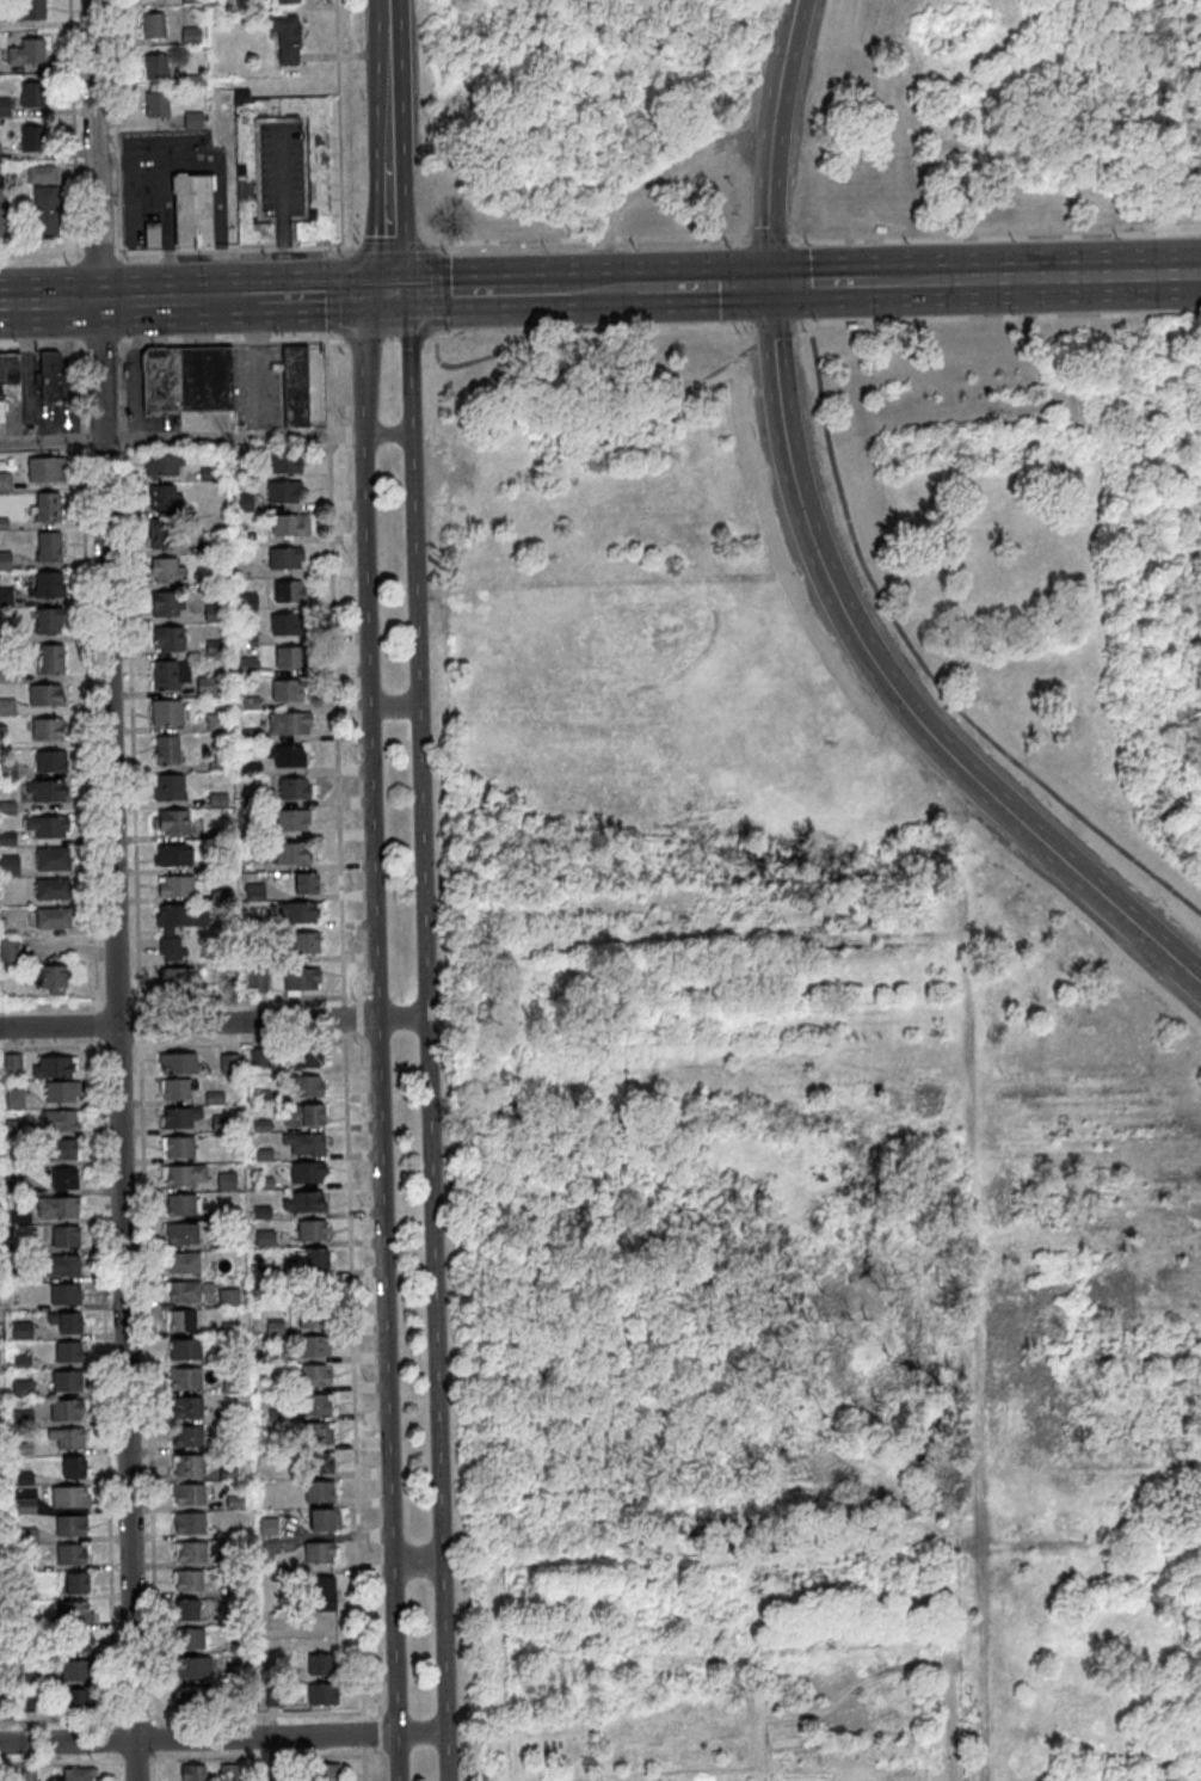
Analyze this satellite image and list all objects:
building: (287, 1)
building: (191, 2)
street lamp: (771, 6)
road: (383, 10)
building: (26, 11)
building: (152, 26)
building: (190, 36)
building: (285, 37)
building: (26, 53)
building: (155, 67)
street lamp: (752, 75)
building: (191, 81)
building: (32, 94)
building: (156, 104)
building: (5, 108)
road: (386, 108)
park: (811, 112)
road: (281, 118)
building: (192, 121)
road: (338, 123)
road: (116, 128)
road: (72, 129)
building: (31, 139)
road: (769, 140)
road: (164, 153)
parking lot: (164, 162)
parking lot: (279, 168)
building: (318, 168)
building: (41, 174)
road: (651, 180)
building: (191, 207)
road: (281, 210)
building: (45, 211)
building: (2, 213)
road: (165, 227)
street lamp: (357, 231)
building: (152, 233)
street lamp: (1116, 234)
road: (768, 235)
road: (591, 238)
road: (950, 239)
road: (390, 244)
road: (430, 244)
road: (389, 245)
road: (435, 246)
road: (322, 247)
road: (254, 248)
road: (282, 248)
road: (223, 250)
street lamp: (546, 250)
road: (192, 251)
road: (333, 251)
street lamp: (445, 251)
road: (137, 252)
road: (166, 252)
road: (39, 253)
road: (97, 253)
street lamp: (339, 254)
street lamp: (264, 256)
street lamp: (201, 257)
street lamp: (128, 259)
street lamp: (64, 262)
road: (1064, 276)
road: (741, 278)
road: (901, 280)
road: (823, 282)
road: (715, 283)
traffic signals: (769, 283)
road: (596, 285)
road: (435, 289)
road: (504, 289)
road: (433, 293)
road: (333, 294)
road: (343, 294)
traffic signals: (390, 294)
road: (261, 297)
road: (119, 299)
road: (198, 299)
road: (76, 300)
road: (85, 302)
street lamp: (812, 319)
road: (774, 324)
road: (590, 326)
street lamp: (448, 328)
street lamp: (275, 333)
road: (772, 336)
street lamp: (127, 337)
road: (334, 337)
road: (409, 337)
road: (364, 338)
road: (389, 338)
street lamp: (13, 339)
road: (122, 340)
road: (257, 340)
road: (308, 340)
road: (180, 342)
road: (100, 345)
road: (41, 346)
road: (259, 361)
road: (580, 373)
building: (49, 375)
building: (185, 376)
building: (8, 381)
road: (326, 383)
parking lot: (255, 386)
building: (294, 386)
street lamp: (341, 412)
road: (388, 432)
road: (327, 434)
road: (181, 438)
building: (285, 462)
building: (162, 465)
building: (45, 469)
building: (209, 474)
building: (5, 481)
building: (282, 491)
building: (162, 497)
building: (245, 503)
building: (47, 508)
building: (4, 524)
building: (289, 524)
building: (160, 533)
building: (216, 534)
building: (245, 539)
building: (48, 546)
building: (210, 546)
street lamp: (350, 553)
building: (284, 558)
building: (5, 561)
building: (164, 570)
building: (49, 585)
building: (288, 591)
building: (6, 597)
building: (246, 602)
building: (166, 604)
building: (213, 614)
building: (50, 621)
building: (285, 624)
building: (7, 634)
building: (247, 637)
building: (168, 639)
building: (214, 647)
building: (290, 657)
building: (53, 659)
road: (923, 662)
building: (247, 667)
building: (7, 675)
building: (171, 675)
building: (213, 686)
road: (889, 688)
building: (287, 690)
building: (45, 695)
building: (250, 704)
road: (394, 704)
building: (7, 708)
building: (166, 713)
street lamp: (349, 717)
road: (335, 719)
building: (215, 723)
building: (289, 723)
building: (48, 730)
building: (251, 736)
building: (167, 750)
building: (287, 756)
building: (50, 762)
building: (217, 764)
building: (251, 769)
building: (8, 770)
building: (168, 788)
building: (294, 788)
building: (47, 791)
building: (217, 800)
building: (252, 803)
building: (7, 807)
building: (291, 821)
building: (171, 823)
building: (47, 827)
building: (218, 836)
building: (7, 840)
building: (290, 854)
road: (110, 856)
building: (172, 856)
building: (53, 859)
building: (10, 866)
building: (217, 866)
building: (304, 884)
street lamp: (351, 884)
building: (174, 888)
building: (53, 889)
building: (254, 891)
building: (218, 896)
building: (296, 913)
building: (54, 919)
building: (244, 922)
building: (2, 923)
building: (175, 925)
road: (836, 935)
building: (304, 942)
building: (8, 951)
building: (175, 978)
building: (53, 979)
building: (301, 979)
building: (257, 982)
building: (223, 985)
road: (174, 1000)
road: (343, 1018)
road: (213, 1022)
road: (96, 1032)
road: (376, 1033)
road: (426, 1034)
street lamp: (356, 1043)
road: (172, 1044)
park: (829, 1052)
building: (306, 1057)
building: (259, 1058)
building: (178, 1063)
building: (11, 1064)
building: (229, 1064)
building: (53, 1068)
building: (307, 1087)
building: (177, 1089)
building: (62, 1092)
building: (260, 1097)
building: (214, 1099)
building: (14, 1100)
building: (302, 1116)
building: (180, 1118)
building: (60, 1120)
building: (221, 1124)
building: (260, 1126)
building: (16, 1129)
building: (304, 1143)
building: (178, 1147)
building: (60, 1150)
building: (263, 1155)
building: (307, 1173)
building: (184, 1175)
building: (64, 1179)
building: (226, 1183)
building: (263, 1184)
building: (16, 1186)
street lamp: (363, 1202)
building: (303, 1203)
building: (183, 1205)
building: (58, 1208)
building: (261, 1212)
building: (227, 1214)
building: (19, 1218)
building: (312, 1232)
building: (183, 1234)
building: (66, 1238)
building: (265, 1239)
building: (221, 1242)
building: (6, 1248)
building: (312, 1260)
building: (184, 1264)
building: (62, 1266)
building: (263, 1271)
building: (20, 1277)
building: (184, 1292)
building: (66, 1295)
building: (228, 1298)
road: (975, 1318)
building: (312, 1319)
building: (180, 1321)
building: (67, 1324)
building: (275, 1328)
building: (230, 1329)
building: (21, 1332)
building: (314, 1347)
building: (185, 1350)
building: (68, 1353)
building: (276, 1353)
building: (232, 1358)
building: (21, 1362)
road: (352, 1375)
building: (314, 1377)
street lamp: (364, 1377)
building: (186, 1380)
building: (67, 1382)
building: (232, 1388)
building: (23, 1389)
building: (316, 1405)
building: (187, 1408)
building: (66, 1411)
building: (227, 1415)
building: (278, 1415)
building: (24, 1419)
building: (318, 1433)
building: (189, 1437)
building: (68, 1439)
building: (279, 1444)
building: (238, 1445)
building: (23, 1450)
building: (319, 1463)
building: (190, 1467)
building: (75, 1469)
building: (228, 1474)
building: (24, 1480)
building: (321, 1492)
building: (189, 1496)
building: (70, 1498)
building: (235, 1503)
building: (25, 1506)
building: (325, 1521)
building: (190, 1524)
building: (70, 1527)
building: (270, 1529)
building: (27, 1536)
building: (270, 1547)
street lamp: (371, 1549)
building: (191, 1553)
building: (321, 1554)
building: (70, 1556)
building: (235, 1558)
road: (414, 1561)
building: (26, 1566)
building: (279, 1574)
building: (189, 1582)
building: (76, 1585)
building: (236, 1590)
building: (27, 1592)
building: (324, 1595)
building: (0, 1596)
building: (187, 1611)
building: (73, 1614)
building: (233, 1619)
building: (29, 1625)
building: (191, 1640)
building: (76, 1642)
building: (239, 1648)
building: (1, 1653)
building: (27, 1653)
crop: (737, 1663)
building: (322, 1665)
building: (195, 1669)
building: (76, 1672)
building: (238, 1672)
road: (367, 1678)
building: (31, 1681)
building: (324, 1695)
building: (195, 1699)
building: (275, 1699)
building: (75, 1701)
building: (27, 1703)
road: (515, 1703)
road: (797, 1707)
road: (255, 1713)
road: (135, 1716)
road: (60, 1719)
road: (156, 1720)
road: (362, 1732)
road: (419, 1732)
road: (113, 1737)
road: (133, 1738)
road: (156, 1738)
road: (197, 1738)
street lamp: (153, 1755)
road: (115, 1756)
road: (156, 1756)
road: (257, 1757)
street lamp: (378, 1757)
road: (136, 1759)
road: (60, 1762)
road: (363, 1763)
road: (134, 1771)
building: (277, 1771)
building: (228, 1773)
building: (325, 1773)
building: (195, 1774)
building: (79, 1775)
building: (29, 1776)
building: (2, 1777)

